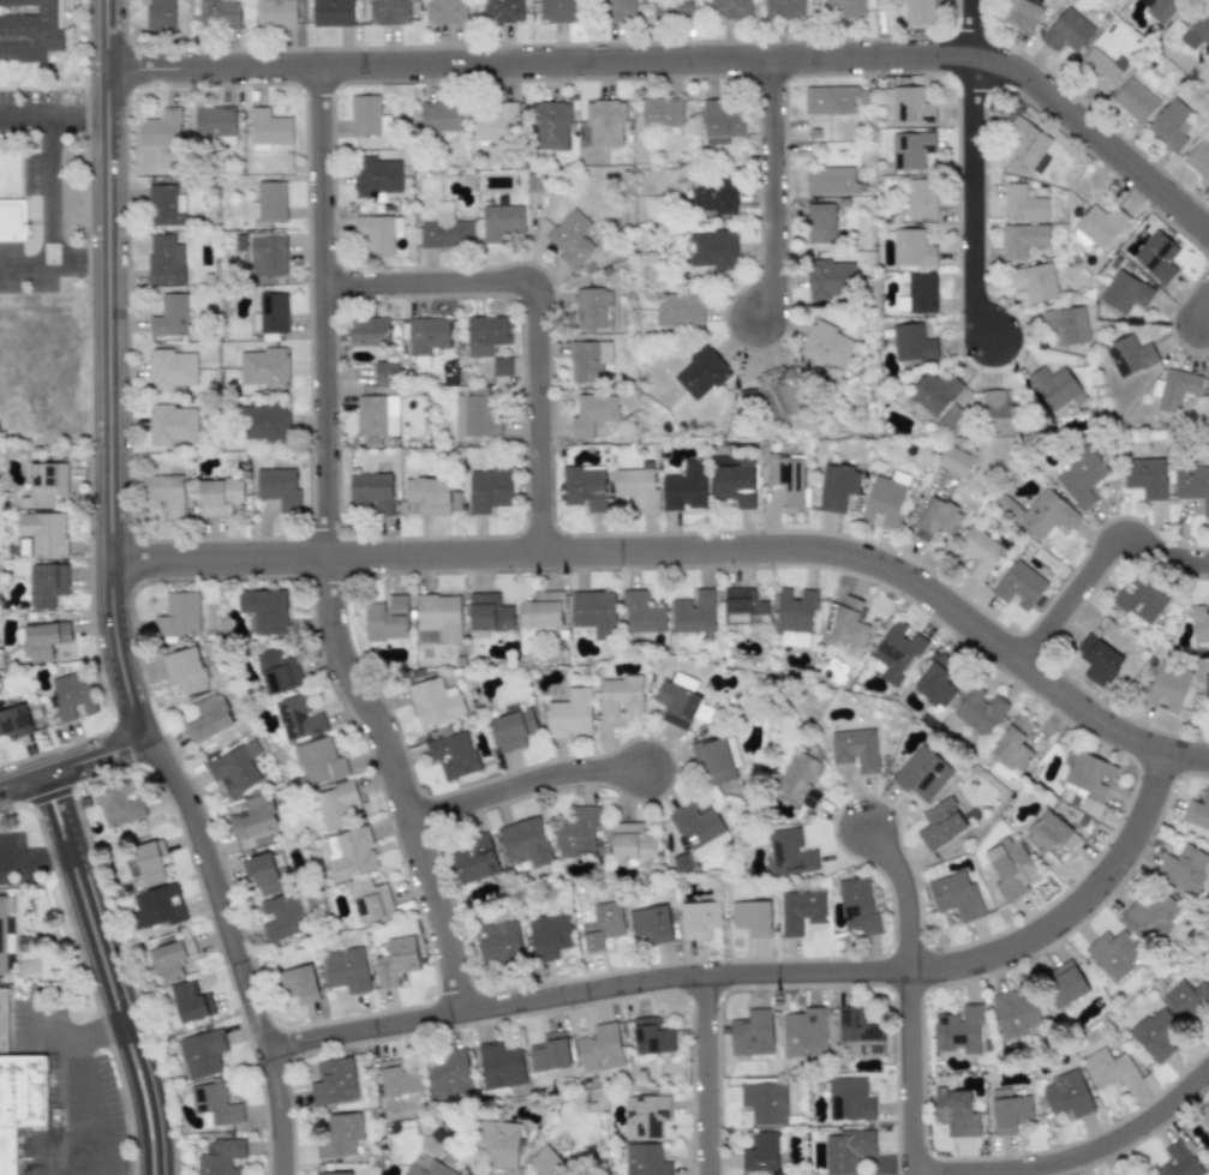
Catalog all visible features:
building: (784, 7)
building: (843, 7)
building: (730, 8)
building: (621, 10)
building: (672, 10)
building: (1161, 10)
building: (445, 11)
building: (502, 11)
building: (557, 11)
building: (219, 12)
building: (275, 12)
building: (331, 12)
building: (389, 12)
building: (917, 12)
building: (160, 14)
building: (1021, 14)
building: (29, 29)
building: (1195, 29)
building: (1066, 30)
road: (689, 61)
building: (1100, 67)
building: (834, 98)
building: (1135, 100)
building: (908, 104)
road: (77, 110)
road: (23, 112)
building: (662, 113)
building: (367, 116)
building: (439, 116)
building: (214, 122)
building: (605, 122)
building: (720, 122)
building: (497, 124)
building: (551, 124)
building: (1169, 125)
building: (160, 128)
building: (269, 130)
building: (1028, 144)
building: (911, 149)
building: (1198, 160)
road: (972, 173)
building: (376, 176)
building: (831, 180)
building: (534, 181)
road: (49, 187)
road: (774, 193)
building: (713, 197)
building: (921, 198)
building: (269, 202)
building: (1023, 203)
building: (164, 205)
building: (12, 220)
building: (501, 221)
building: (820, 222)
building: (1097, 227)
building: (445, 229)
building: (379, 233)
building: (570, 239)
building: (1022, 239)
building: (911, 248)
building: (711, 252)
building: (267, 254)
building: (1156, 256)
building: (164, 259)
road: (25, 264)
road: (79, 264)
building: (831, 278)
building: (1034, 282)
building: (1125, 292)
building: (918, 294)
building: (591, 307)
building: (680, 310)
building: (273, 312)
road: (1199, 314)
road: (539, 316)
building: (170, 317)
building: (1065, 324)
building: (367, 331)
building: (485, 334)
building: (426, 337)
building: (912, 343)
building: (828, 346)
building: (1130, 355)
building: (587, 360)
building: (501, 366)
building: (263, 367)
building: (172, 368)
building: (385, 372)
building: (701, 373)
building: (1053, 386)
building: (1177, 389)
building: (935, 392)
building: (780, 394)
building: (475, 413)
building: (592, 413)
building: (1002, 413)
building: (376, 416)
building: (265, 422)
building: (173, 424)
building: (956, 461)
building: (1145, 476)
building: (1082, 478)
building: (788, 479)
building: (735, 482)
building: (44, 484)
building: (1193, 485)
building: (636, 486)
building: (279, 487)
building: (585, 487)
building: (684, 487)
building: (838, 487)
building: (489, 490)
building: (371, 492)
building: (163, 493)
building: (429, 494)
building: (219, 496)
building: (1039, 512)
building: (936, 520)
building: (43, 533)
road: (321, 551)
road: (689, 551)
building: (978, 551)
road: (1097, 564)
building: (47, 582)
building: (1019, 586)
building: (1139, 599)
road: (110, 604)
building: (541, 610)
building: (744, 610)
building: (265, 611)
building: (489, 612)
building: (594, 612)
building: (641, 612)
building: (694, 612)
building: (179, 615)
building: (439, 616)
building: (795, 617)
building: (385, 619)
building: (849, 624)
building: (1199, 624)
building: (44, 640)
building: (898, 653)
building: (1099, 661)
building: (185, 670)
building: (277, 670)
building: (938, 682)
building: (1168, 687)
building: (1207, 694)
building: (72, 695)
building: (621, 697)
building: (435, 702)
building: (676, 703)
building: (980, 711)
building: (569, 714)
building: (208, 718)
building: (297, 718)
building: (14, 721)
building: (513, 730)
building: (1013, 744)
building: (855, 749)
building: (453, 755)
building: (319, 761)
building: (714, 761)
road: (71, 766)
building: (235, 768)
building: (921, 773)
building: (801, 780)
building: (1085, 780)
road: (526, 781)
building: (119, 804)
building: (335, 804)
building: (1198, 813)
building: (253, 817)
building: (940, 823)
building: (700, 829)
building: (1049, 832)
building: (579, 833)
building: (525, 841)
building: (633, 843)
building: (349, 853)
building: (790, 853)
road: (34, 855)
building: (474, 859)
building: (1011, 868)
building: (1185, 871)
building: (262, 874)
road: (906, 897)
building: (957, 897)
building: (370, 900)
building: (157, 906)
building: (858, 906)
building: (802, 911)
building: (282, 917)
building: (752, 917)
building: (1154, 917)
building: (699, 919)
building: (601, 923)
building: (651, 923)
building: (550, 935)
building: (2, 936)
building: (499, 942)
building: (1113, 954)
building: (1208, 959)
building: (395, 960)
building: (167, 961)
building: (346, 969)
road: (760, 970)
road: (109, 972)
building: (298, 983)
building: (1063, 984)
building: (1186, 999)
building: (187, 1001)
building: (1015, 1014)
building: (4, 1019)
building: (958, 1030)
building: (752, 1032)
building: (803, 1032)
building: (857, 1033)
building: (1156, 1035)
building: (652, 1036)
building: (600, 1048)
building: (549, 1051)
building: (202, 1053)
building: (499, 1066)
building: (1111, 1068)
road: (910, 1069)
road: (707, 1073)
building: (449, 1074)
building: (397, 1078)
road: (86, 1080)
building: (333, 1081)
building: (1069, 1096)
building: (849, 1099)
building: (20, 1102)
building: (765, 1103)
building: (214, 1104)
building: (1009, 1110)
building: (956, 1113)
building: (1204, 1114)
building: (646, 1116)
building: (339, 1134)
building: (498, 1143)
building: (846, 1150)
road: (1093, 1150)
building: (760, 1153)
building: (221, 1157)
building: (645, 1159)
building: (1179, 1161)
building: (547, 1163)
building: (430, 1169)
building: (334, 1173)
building: (1124, 1173)

